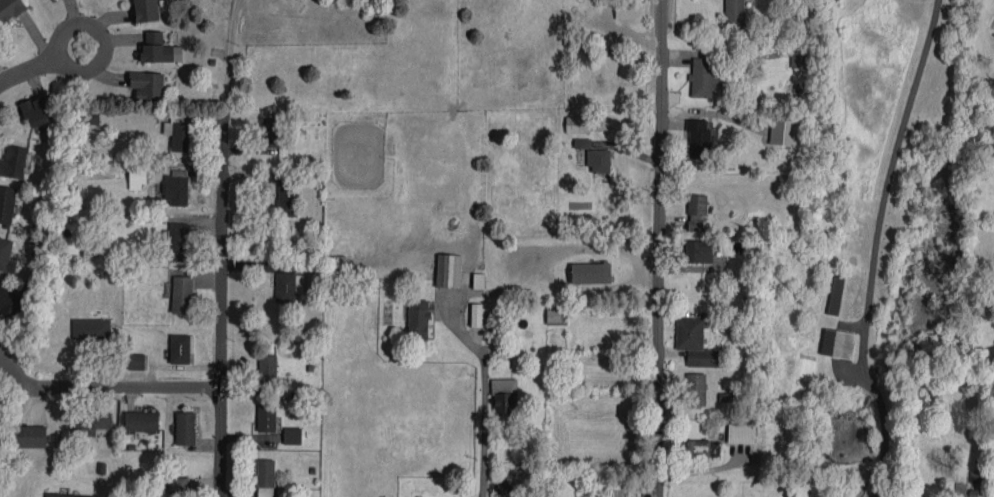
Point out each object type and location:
building: (10, 9)
building: (625, 9)
building: (146, 10)
building: (734, 14)
road: (66, 32)
road: (33, 39)
building: (159, 48)
building: (799, 56)
road: (229, 57)
road: (62, 68)
building: (703, 75)
building: (147, 85)
building: (36, 110)
building: (90, 116)
building: (577, 124)
building: (783, 131)
building: (270, 132)
building: (178, 134)
building: (698, 138)
building: (582, 142)
building: (598, 159)
building: (13, 161)
building: (176, 188)
building: (286, 196)
building: (6, 203)
building: (696, 212)
building: (177, 241)
road: (874, 247)
road: (661, 248)
building: (698, 250)
building: (6, 255)
building: (337, 265)
building: (448, 270)
building: (589, 274)
building: (478, 280)
building: (288, 285)
building: (181, 294)
building: (835, 294)
building: (10, 301)
road: (220, 306)
building: (556, 313)
building: (476, 314)
building: (418, 319)
building: (91, 328)
building: (695, 342)
building: (837, 343)
building: (179, 348)
building: (136, 360)
building: (267, 368)
road: (105, 387)
building: (695, 389)
building: (503, 395)
building: (266, 417)
building: (90, 420)
building: (141, 420)
building: (185, 427)
building: (740, 432)
building: (292, 434)
building: (29, 436)
road: (486, 442)
building: (701, 447)
building: (974, 476)
building: (265, 478)
building: (177, 483)
building: (503, 485)
building: (68, 495)
building: (596, 496)

